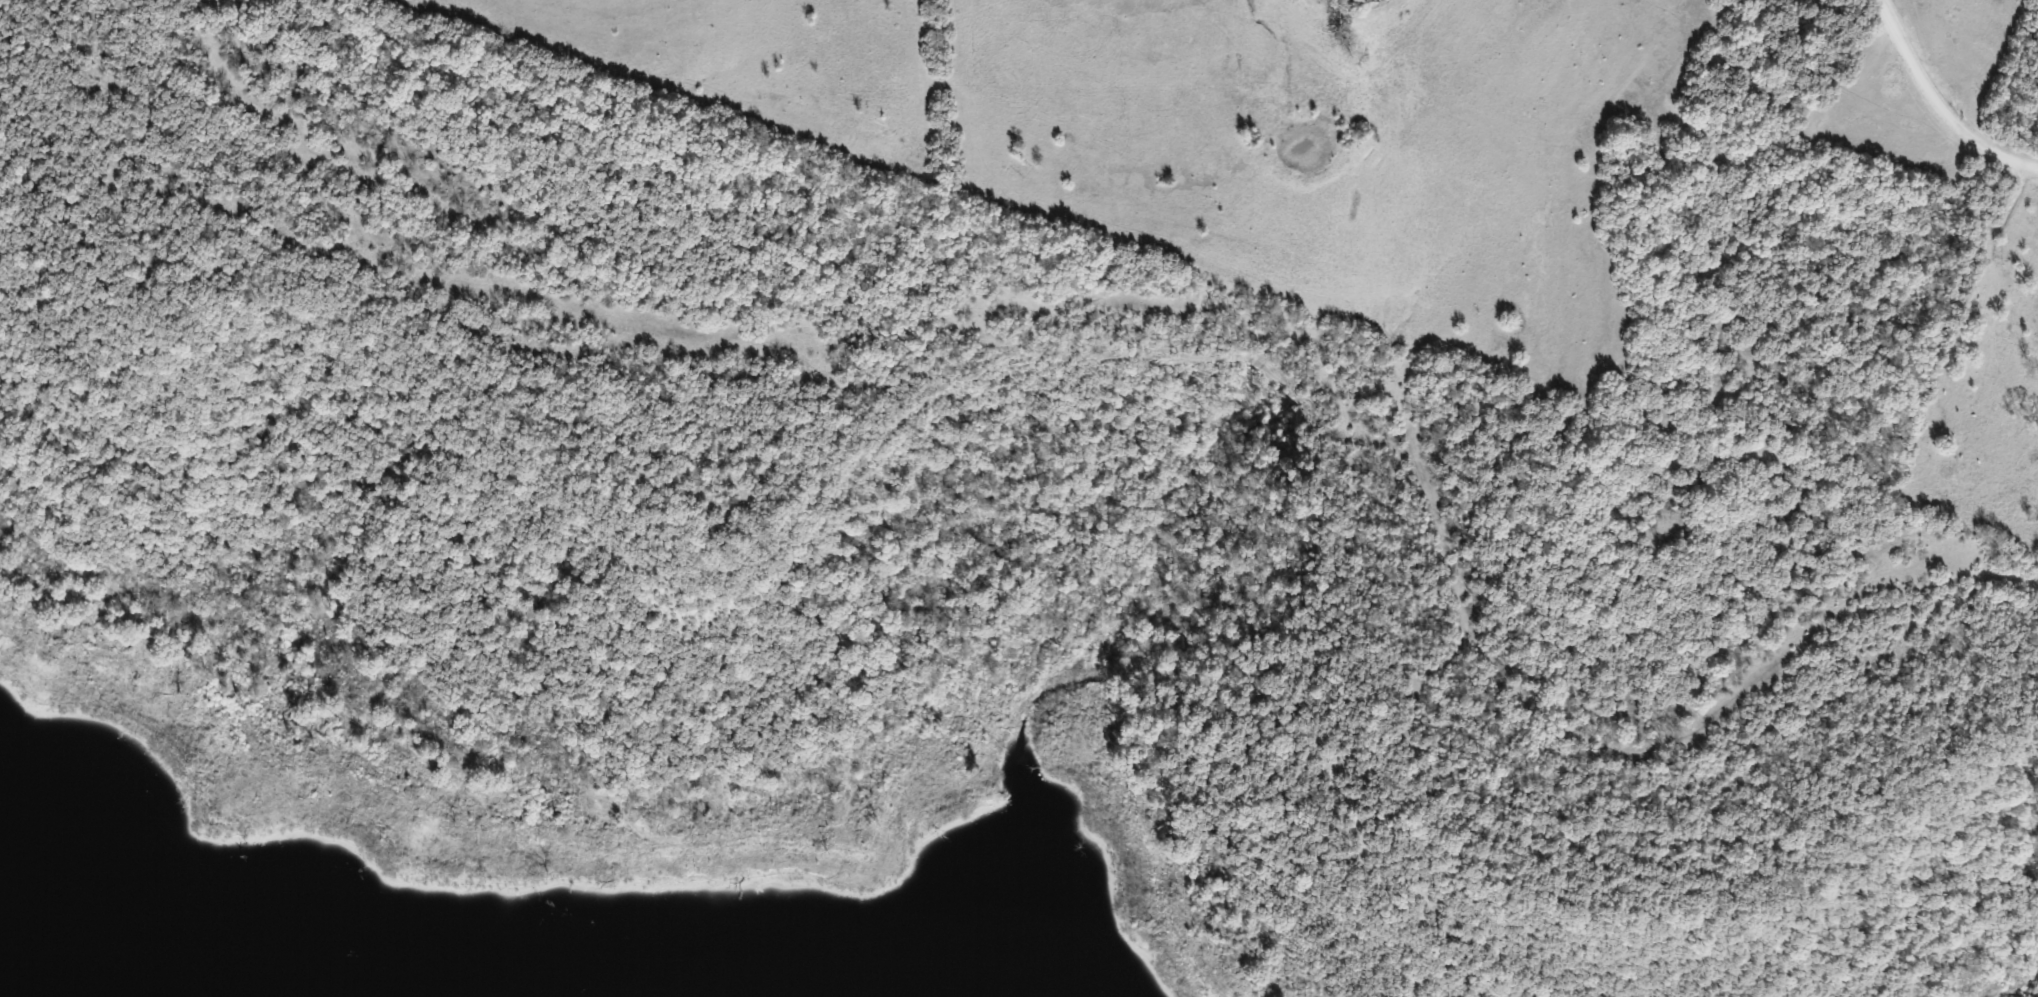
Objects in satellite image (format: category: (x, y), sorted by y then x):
road: (1938, 102)

